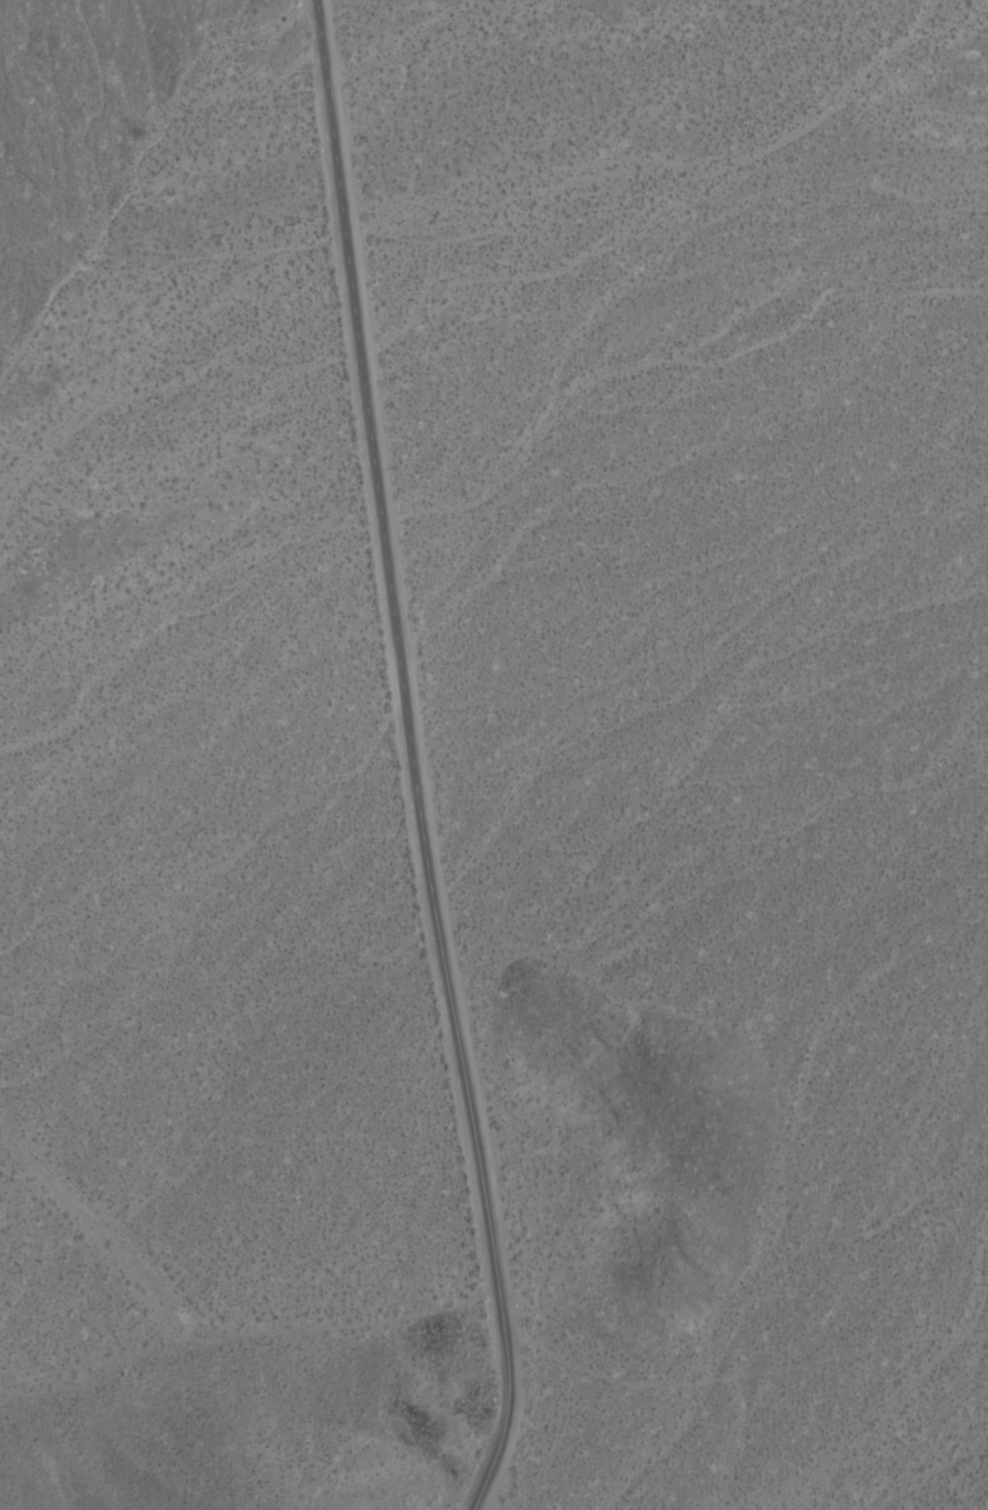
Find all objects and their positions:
road: (388, 582)
road: (501, 1338)

